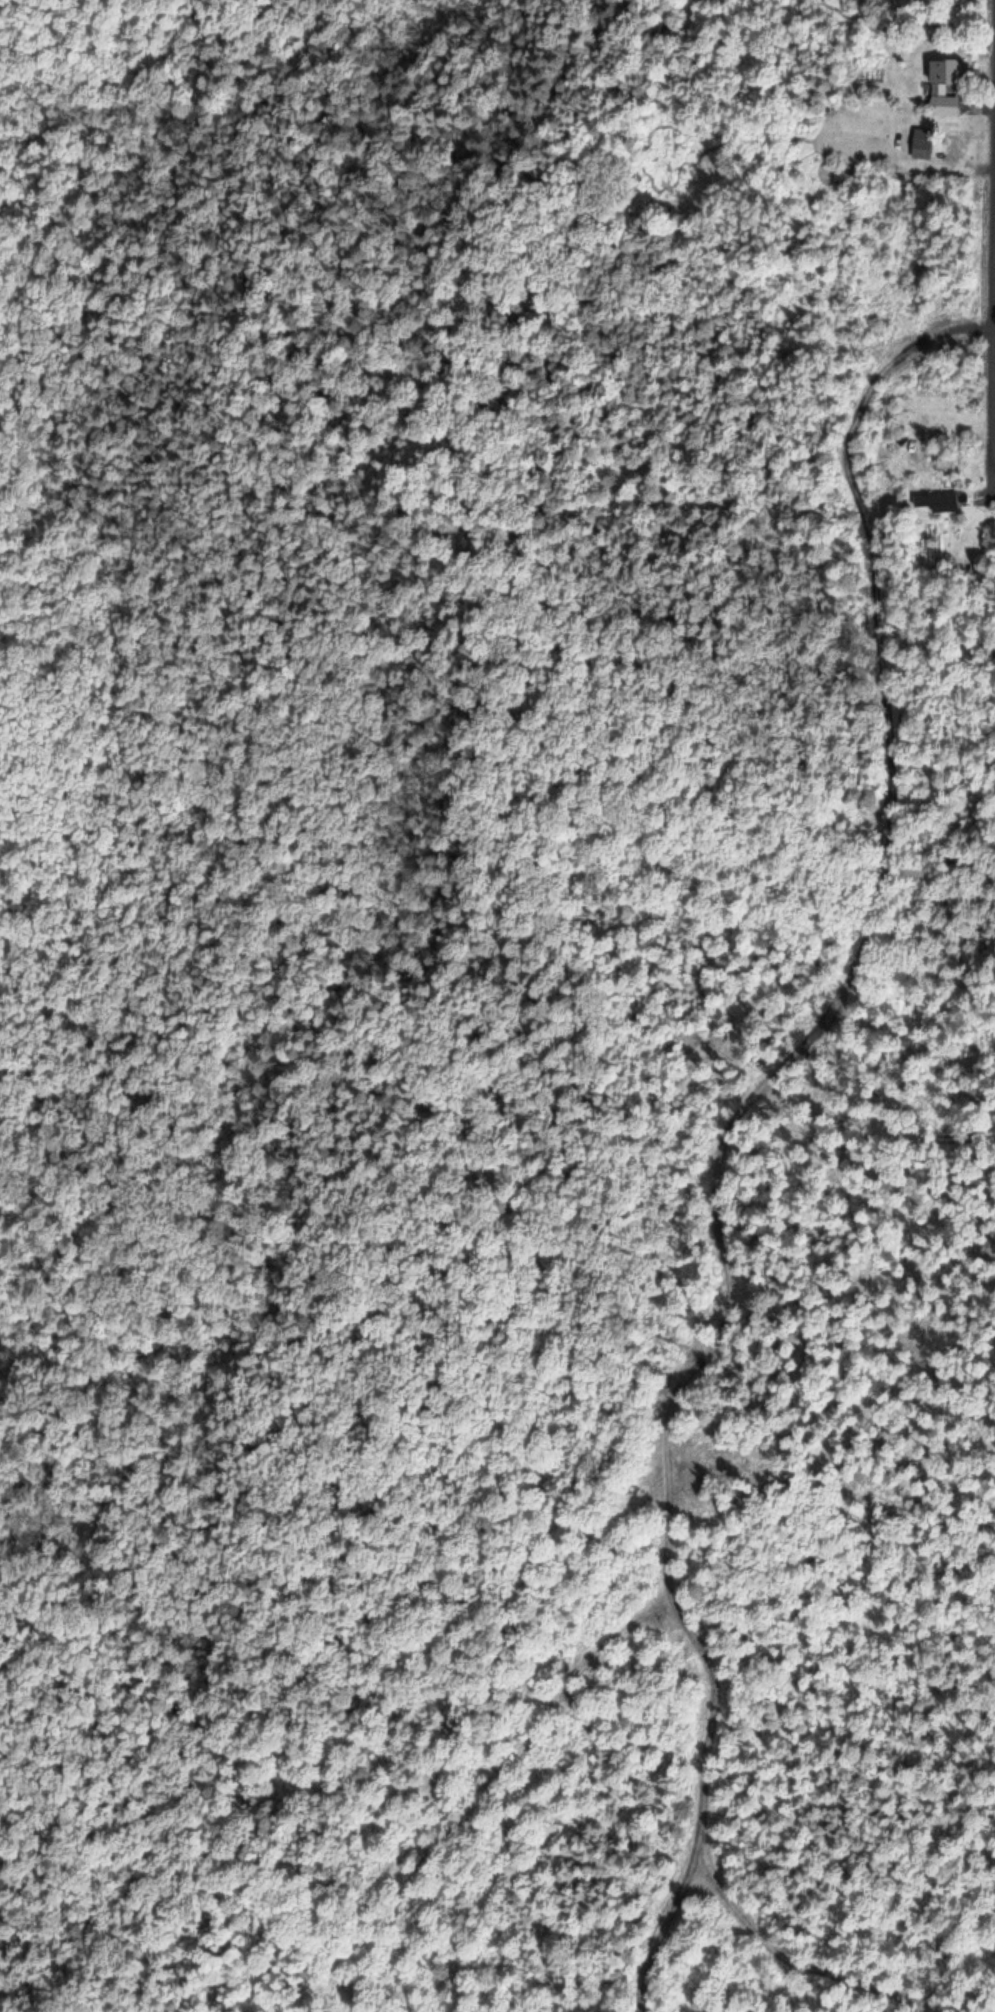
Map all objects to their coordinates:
building: (946, 86)
building: (927, 146)
building: (945, 492)
building: (944, 501)

